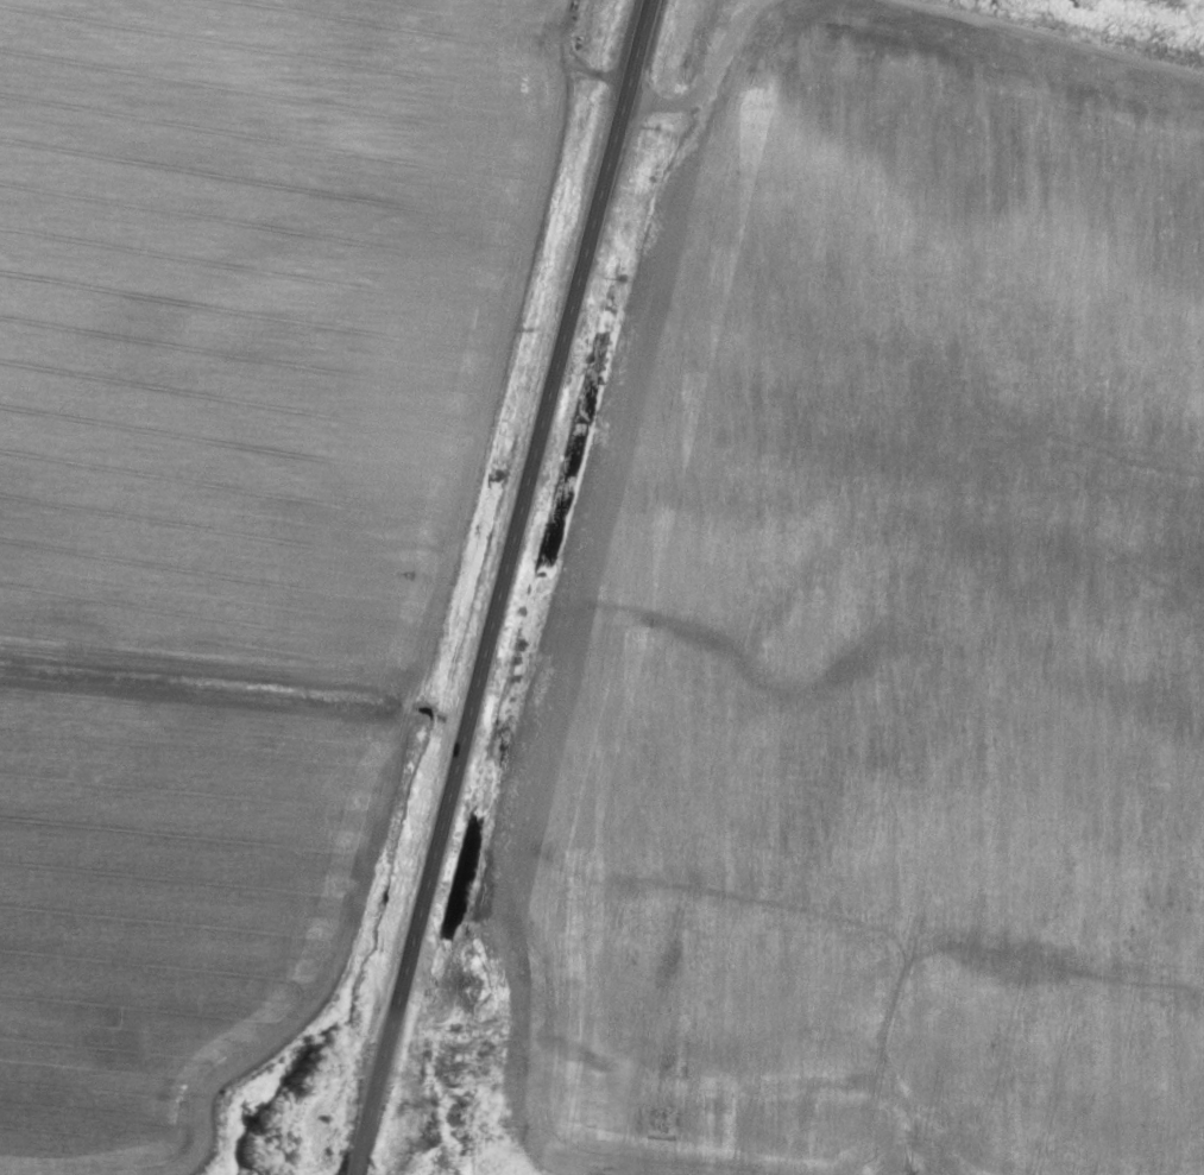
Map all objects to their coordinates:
road: (502, 577)
road: (349, 1164)

